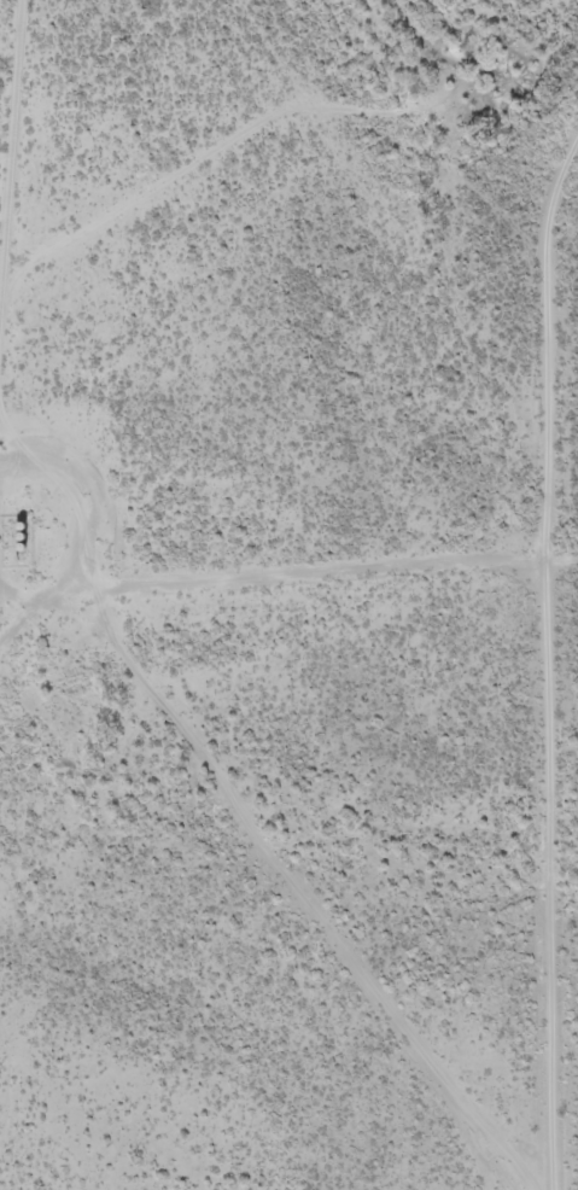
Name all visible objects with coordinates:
road: (461, 226)
road: (40, 414)

